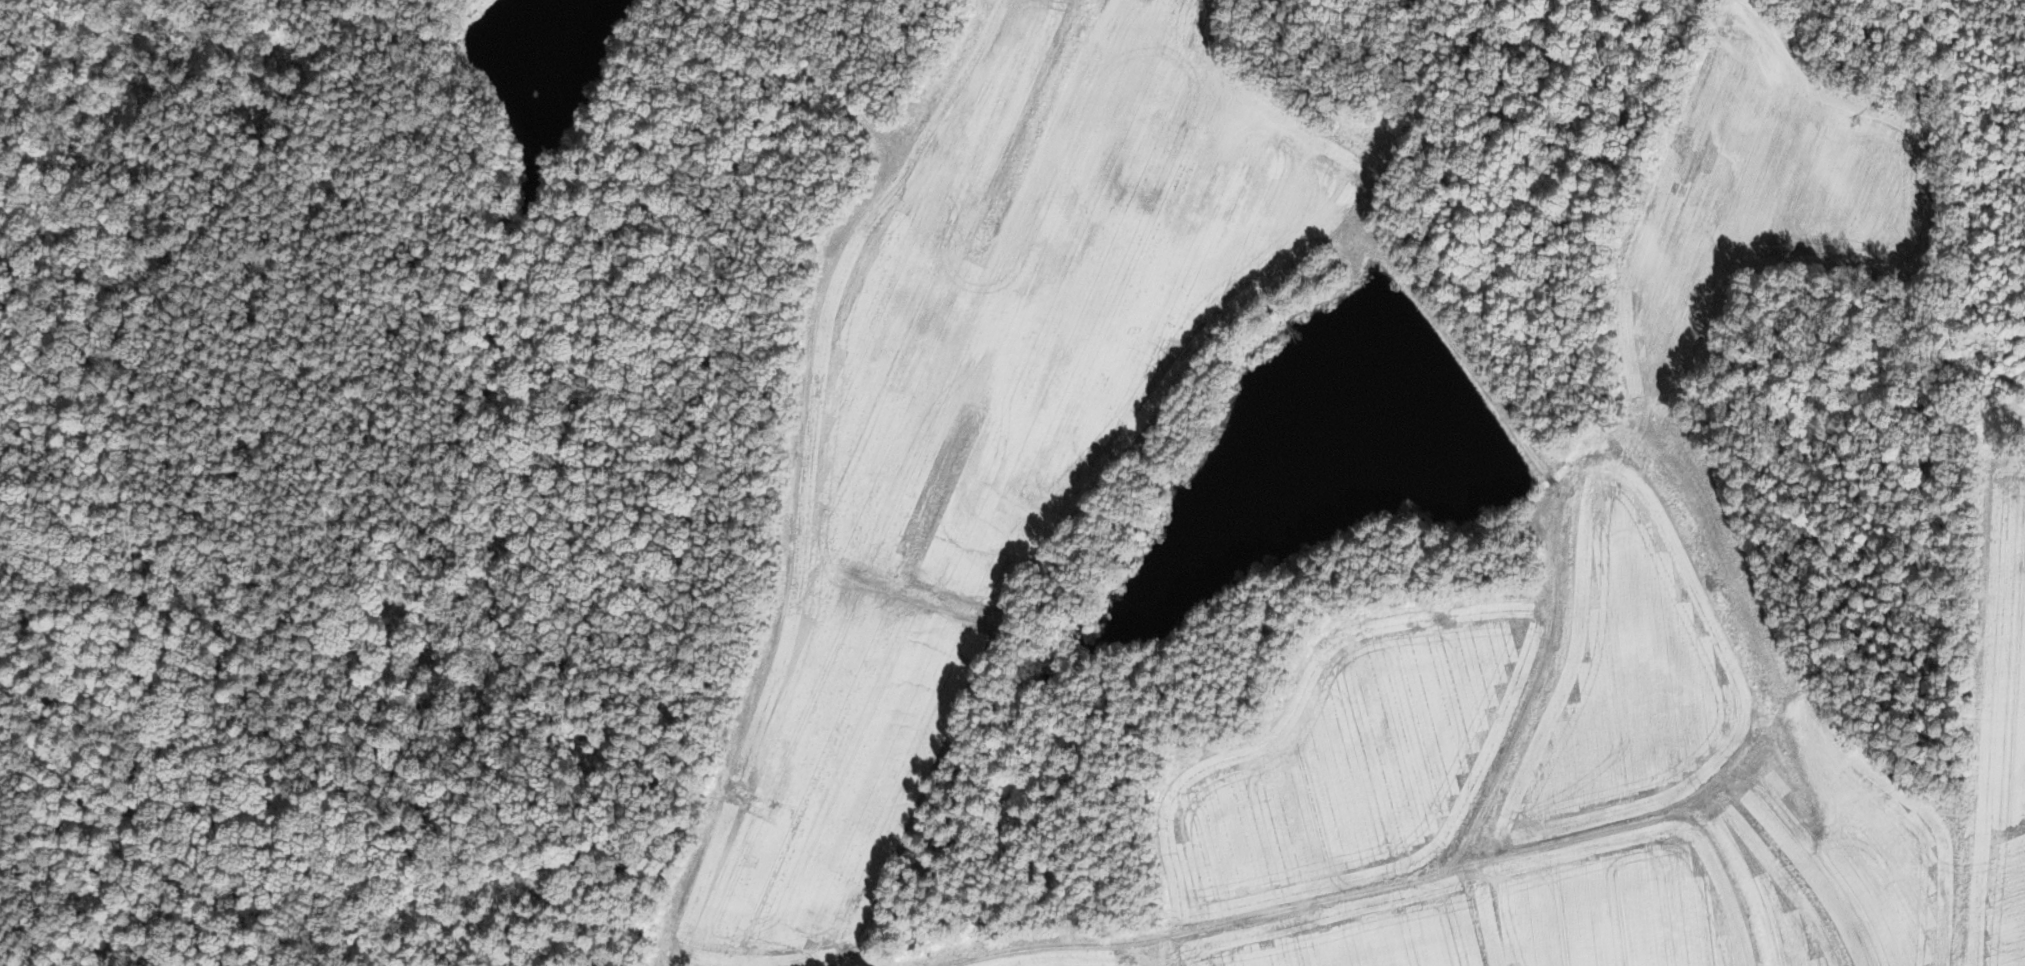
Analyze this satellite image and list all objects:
road: (1535, 851)

